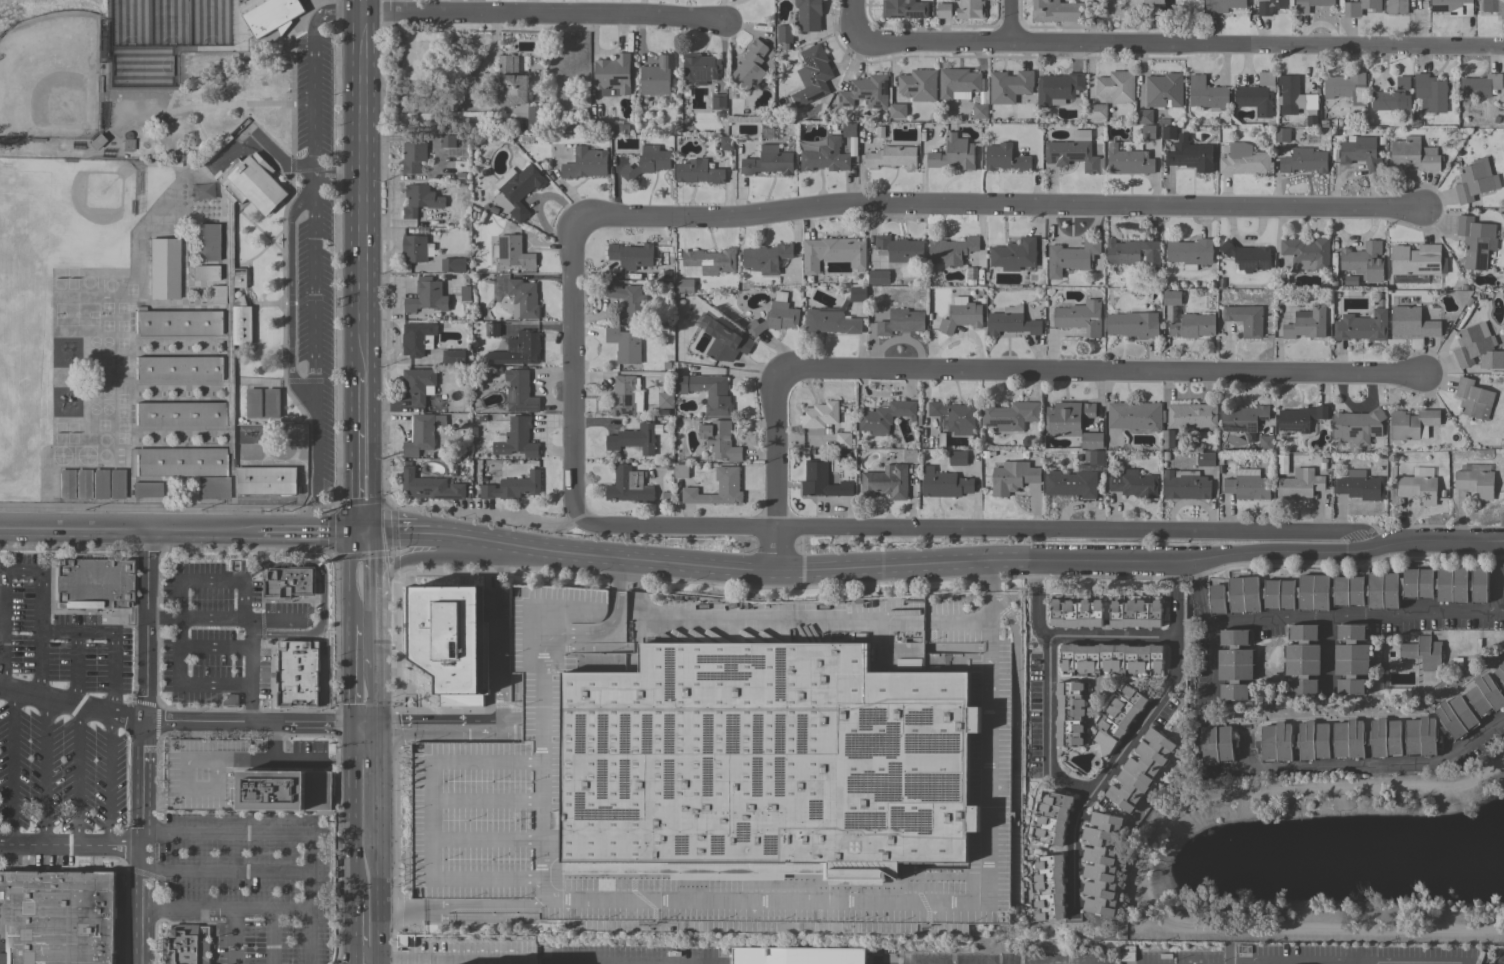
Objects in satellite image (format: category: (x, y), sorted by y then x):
building: (1150, 2)
building: (1223, 5)
road: (363, 6)
building: (1270, 6)
building: (1361, 7)
building: (1396, 7)
building: (1453, 7)
building: (1494, 7)
building: (904, 9)
building: (970, 9)
building: (1302, 9)
building: (943, 10)
building: (1056, 11)
building: (809, 15)
road: (544, 17)
road: (856, 20)
road: (1015, 22)
building: (784, 33)
road: (1180, 43)
building: (750, 66)
building: (700, 67)
building: (816, 69)
park: (141, 75)
building: (613, 75)
building: (656, 76)
park: (49, 77)
building: (511, 82)
building: (958, 83)
building: (1403, 83)
building: (918, 84)
building: (159, 86)
building: (1009, 86)
building: (1116, 86)
building: (1480, 86)
building: (1346, 87)
building: (1059, 88)
building: (1164, 90)
building: (866, 91)
building: (1294, 93)
building: (1430, 93)
building: (1207, 94)
building: (1257, 95)
building: (1389, 100)
building: (718, 101)
road: (207, 105)
building: (897, 110)
building: (980, 111)
building: (1096, 111)
building: (1144, 116)
building: (534, 117)
road: (198, 126)
building: (621, 128)
building: (849, 129)
building: (1148, 132)
building: (1169, 132)
building: (1282, 134)
building: (447, 140)
building: (93, 142)
building: (126, 142)
building: (726, 142)
building: (953, 153)
building: (1361, 153)
building: (1071, 154)
building: (825, 155)
building: (1190, 155)
building: (1413, 155)
building: (413, 157)
building: (892, 157)
building: (1004, 158)
building: (1244, 159)
road: (275, 161)
building: (767, 161)
building: (1129, 161)
building: (1304, 161)
building: (647, 162)
building: (585, 163)
building: (167, 164)
building: (698, 172)
road: (337, 173)
building: (1475, 180)
building: (519, 188)
road: (362, 193)
building: (420, 199)
road: (1002, 204)
building: (208, 241)
building: (1476, 241)
parking lot: (312, 242)
building: (414, 248)
building: (899, 249)
building: (951, 250)
building: (512, 252)
building: (1134, 252)
building: (1190, 252)
building: (1307, 252)
building: (832, 253)
road: (312, 254)
building: (631, 254)
building: (1017, 255)
building: (1247, 256)
building: (1072, 257)
building: (766, 258)
building: (710, 260)
building: (1417, 260)
building: (1363, 261)
building: (453, 264)
building: (162, 268)
building: (205, 273)
building: (971, 275)
building: (878, 277)
building: (683, 286)
building: (425, 295)
building: (523, 298)
building: (1172, 298)
building: (629, 302)
building: (1175, 313)
building: (836, 315)
building: (961, 315)
building: (1080, 317)
building: (775, 318)
building: (1245, 319)
building: (1012, 321)
building: (901, 322)
building: (1411, 322)
building: (1306, 323)
building: (1133, 324)
building: (1193, 325)
building: (1362, 326)
building: (492, 329)
building: (418, 339)
building: (726, 343)
building: (1473, 343)
building: (625, 344)
building: (518, 350)
building: (452, 356)
building: (207, 360)
road: (570, 372)
road: (1099, 375)
building: (419, 384)
building: (519, 392)
building: (707, 392)
building: (623, 396)
building: (1473, 399)
building: (665, 400)
building: (253, 402)
building: (272, 402)
building: (1010, 415)
building: (1134, 415)
building: (885, 416)
building: (955, 416)
building: (1192, 416)
building: (819, 417)
building: (1244, 418)
building: (1300, 418)
building: (1072, 422)
building: (1411, 423)
building: (1358, 425)
building: (422, 433)
building: (518, 438)
building: (635, 438)
road: (360, 439)
building: (720, 439)
building: (843, 440)
building: (1266, 443)
building: (910, 455)
building: (1094, 456)
building: (958, 458)
building: (1205, 459)
building: (681, 471)
road: (775, 472)
building: (1012, 477)
building: (1475, 479)
building: (823, 481)
building: (886, 482)
building: (64, 484)
building: (80, 484)
building: (98, 484)
building: (115, 484)
building: (944, 484)
building: (1071, 484)
building: (1134, 484)
building: (1186, 484)
building: (1299, 484)
building: (629, 485)
building: (1247, 485)
building: (1360, 485)
building: (430, 486)
building: (512, 487)
building: (212, 488)
building: (718, 488)
building: (1419, 488)
building: (145, 489)
road: (354, 518)
road: (367, 518)
road: (127, 529)
road: (302, 531)
road: (361, 531)
traffic signals: (374, 531)
traffic signals: (349, 532)
road: (407, 532)
road: (891, 533)
road: (1333, 541)
road: (434, 558)
road: (507, 563)
road: (970, 564)
road: (374, 566)
road: (1, 570)
road: (1497, 577)
road: (349, 578)
building: (289, 582)
road: (243, 583)
building: (93, 586)
building: (1503, 589)
building: (1350, 590)
road: (1198, 592)
road: (1173, 598)
road: (499, 599)
road: (1036, 601)
road: (39, 603)
road: (1501, 611)
building: (1076, 613)
building: (1135, 614)
road: (1354, 617)
road: (276, 618)
road: (985, 621)
road: (250, 632)
road: (374, 635)
road: (1109, 637)
building: (449, 640)
road: (233, 646)
road: (1326, 651)
building: (1423, 652)
building: (1112, 658)
building: (1302, 659)
building: (1353, 659)
road: (1211, 660)
road: (38, 665)
building: (1235, 665)
road: (76, 670)
building: (298, 673)
road: (352, 675)
road: (1092, 680)
road: (182, 685)
road: (374, 696)
road: (71, 705)
building: (1471, 705)
building: (1070, 713)
building: (1119, 719)
road: (500, 721)
road: (259, 723)
traffic signals: (354, 725)
traffic signals: (376, 725)
road: (392, 725)
road: (1048, 728)
building: (1349, 739)
building: (1217, 743)
road: (142, 747)
road: (1079, 751)
road: (376, 756)
building: (769, 760)
road: (1363, 766)
road: (12, 768)
road: (1109, 769)
building: (1141, 769)
road: (44, 772)
road: (77, 777)
building: (237, 779)
road: (108, 780)
road: (354, 812)
road: (376, 812)
building: (1054, 818)
road: (431, 820)
road: (292, 831)
road: (70, 846)
building: (1101, 863)
road: (226, 871)
building: (1051, 887)
road: (699, 900)
road: (377, 901)
road: (459, 904)
road: (215, 907)
road: (273, 908)
building: (58, 917)
road: (354, 927)
road: (272, 936)
building: (405, 941)
building: (187, 944)
building: (798, 955)
road: (442, 956)
road: (354, 959)
road: (612, 963)
road: (687, 963)

